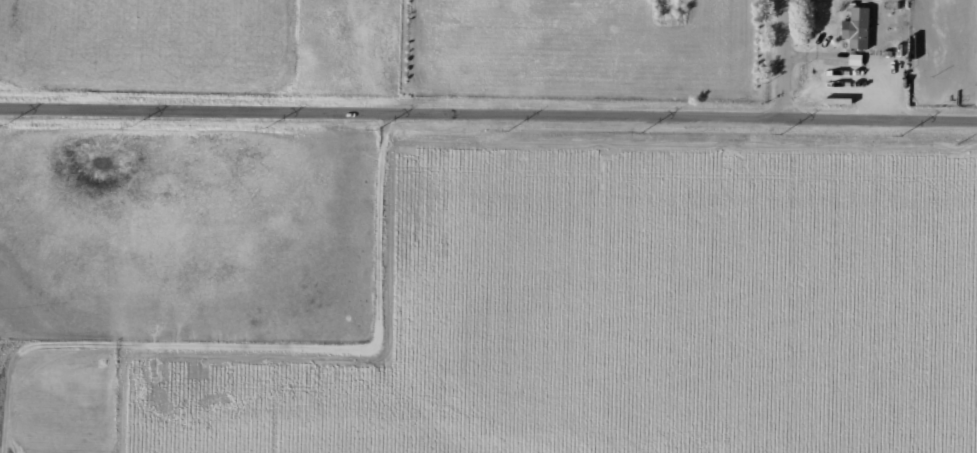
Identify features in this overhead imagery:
building: (856, 27)
road: (794, 64)
road: (488, 128)
road: (630, 129)
road: (264, 352)

